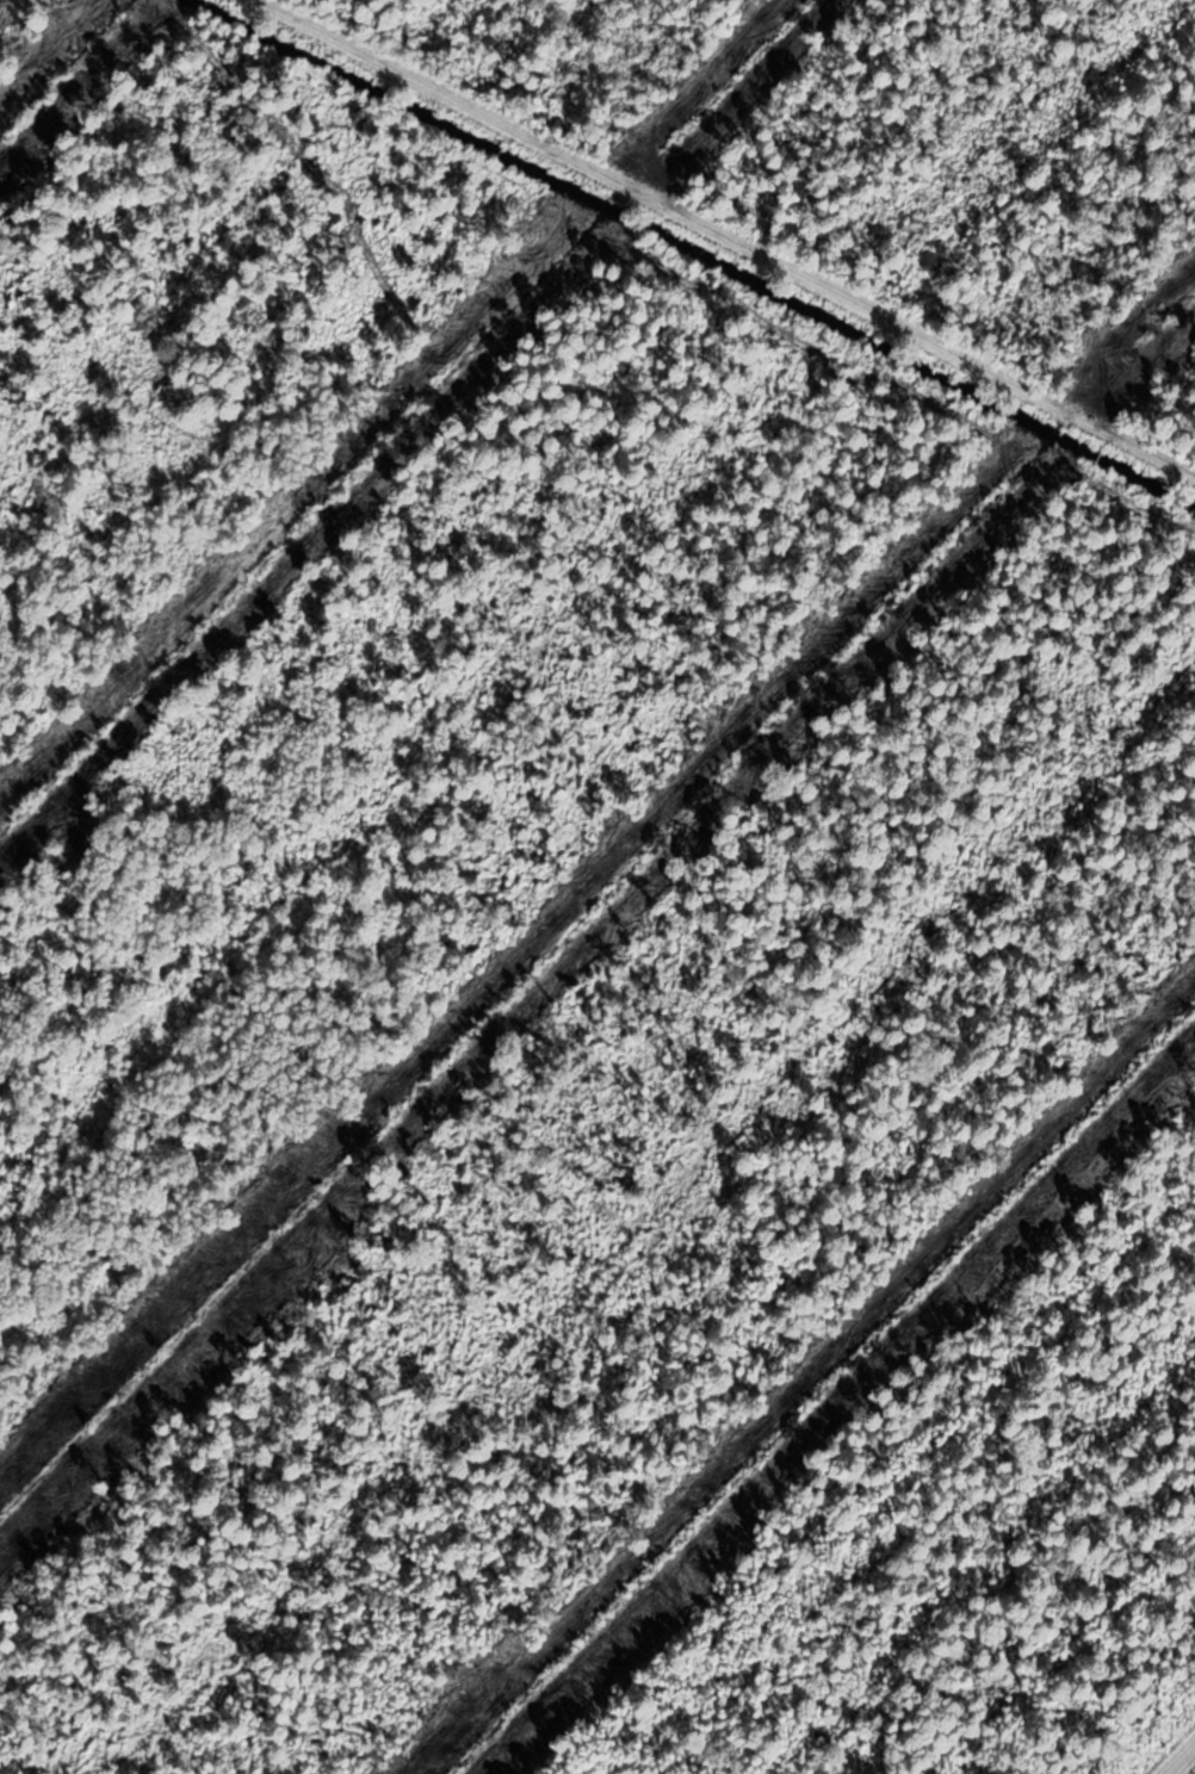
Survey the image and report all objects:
road: (655, 252)
road: (1183, 1762)

